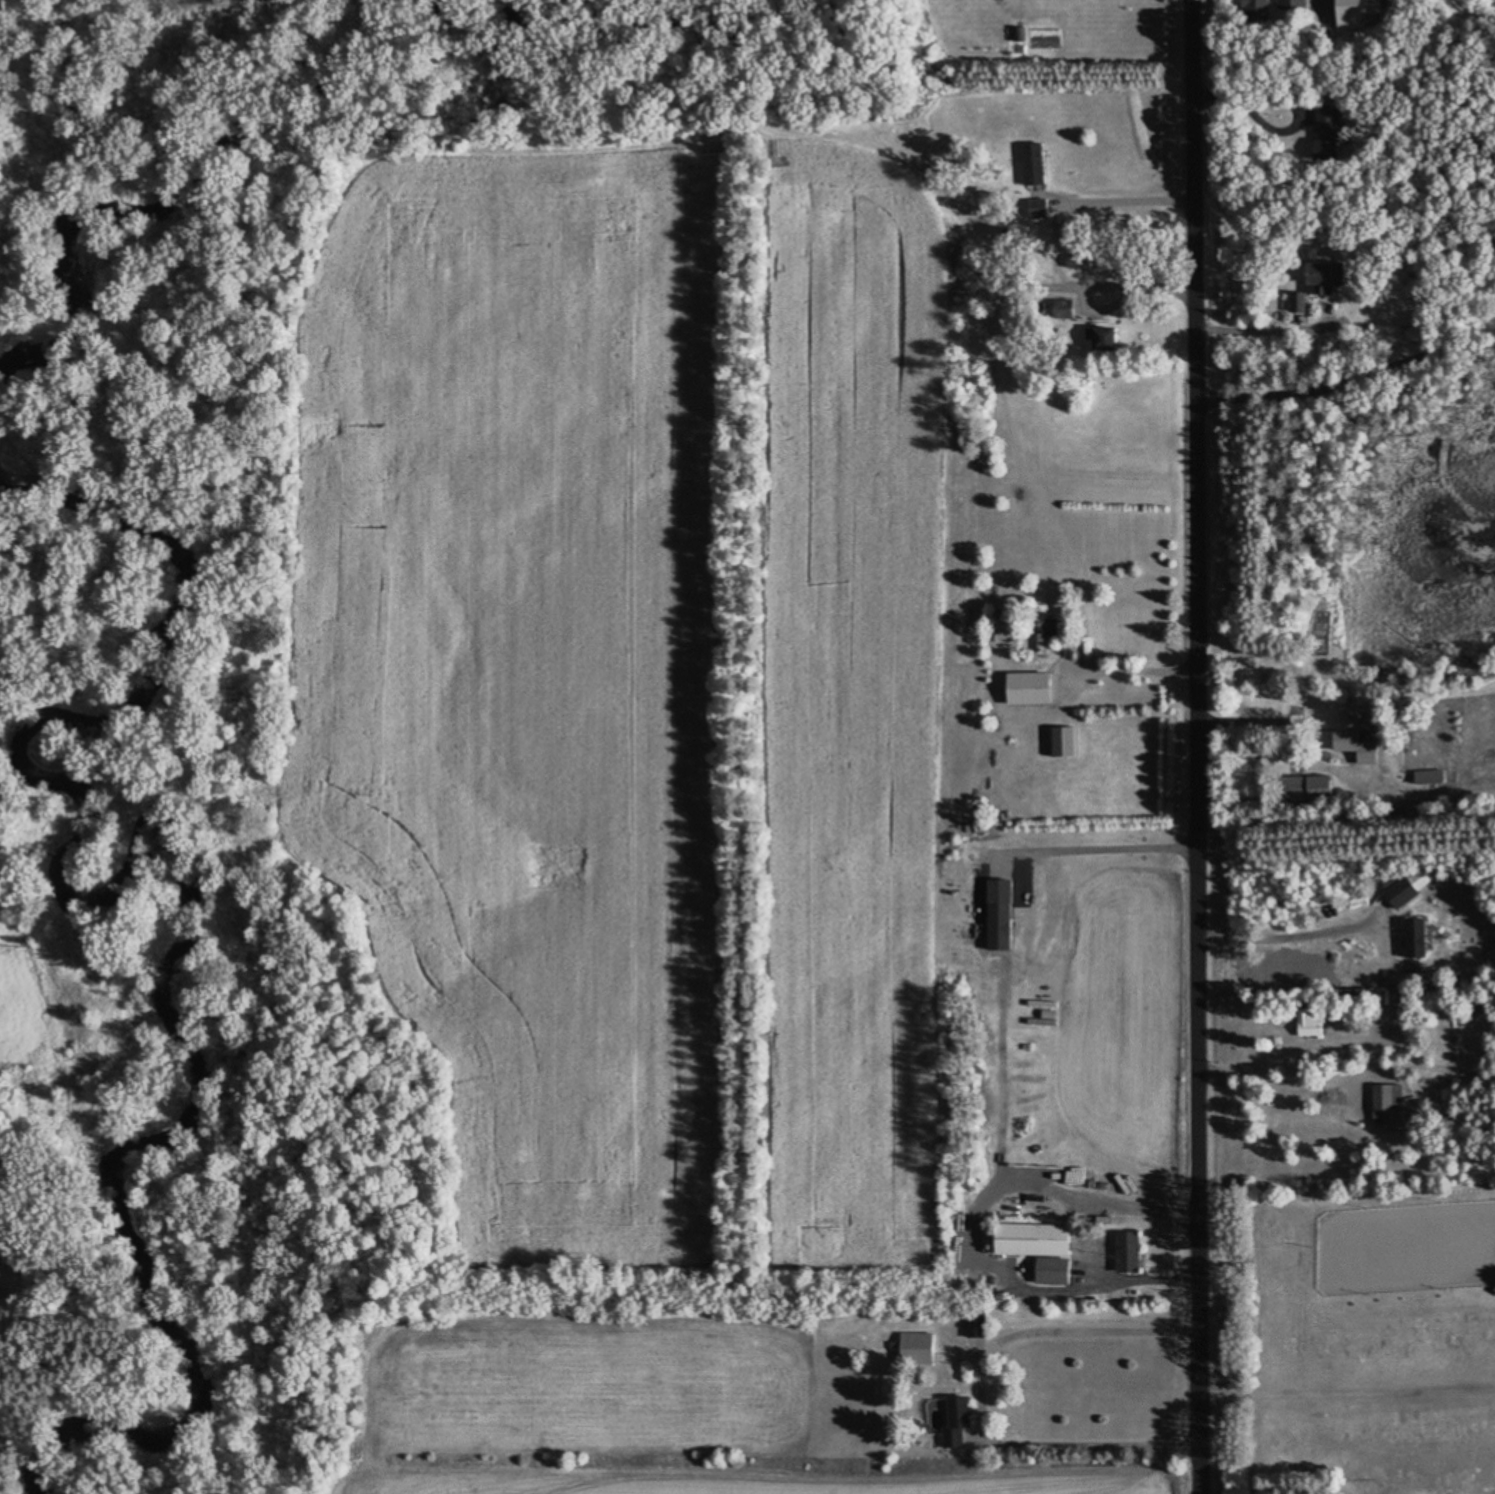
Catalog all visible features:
building: (1253, 8)
building: (1353, 9)
building: (1029, 162)
building: (1034, 203)
building: (1310, 278)
building: (1294, 301)
building: (1095, 337)
road: (1347, 373)
building: (1042, 628)
building: (1022, 687)
building: (1343, 732)
road: (1197, 746)
building: (1427, 775)
building: (1304, 786)
building: (1397, 891)
crop: (14, 922)
building: (992, 931)
building: (1412, 937)
crop: (626, 1013)
building: (1307, 1015)
road: (1000, 1038)
building: (1379, 1097)
building: (1031, 1247)
building: (1124, 1251)
road: (1040, 1300)
building: (915, 1347)
road: (979, 1393)
building: (947, 1417)

